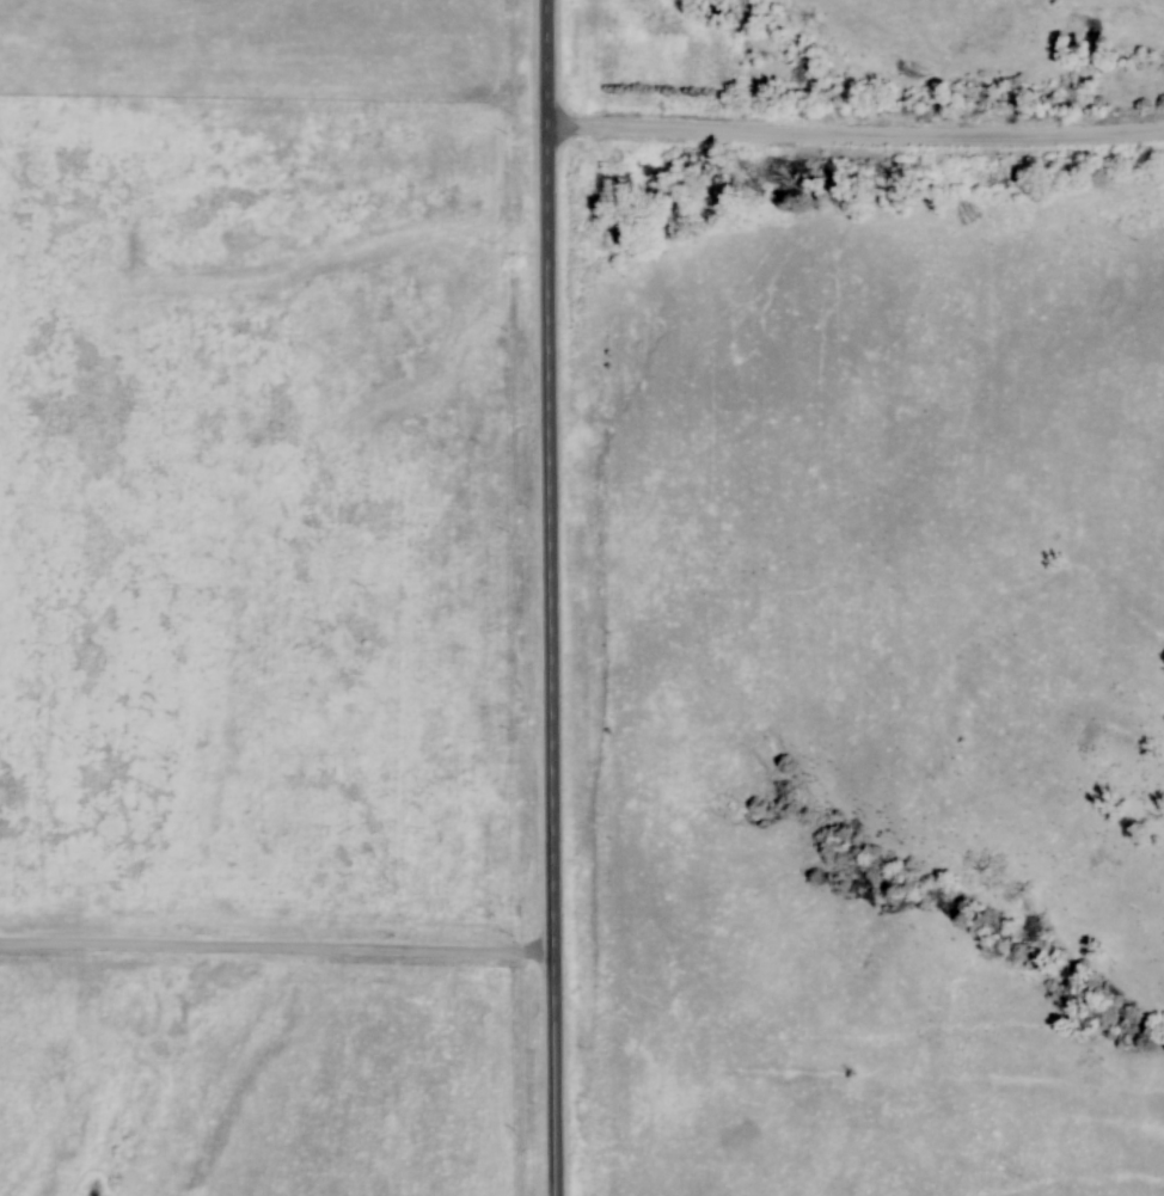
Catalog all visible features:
road: (859, 141)
road: (563, 597)
road: (284, 950)

